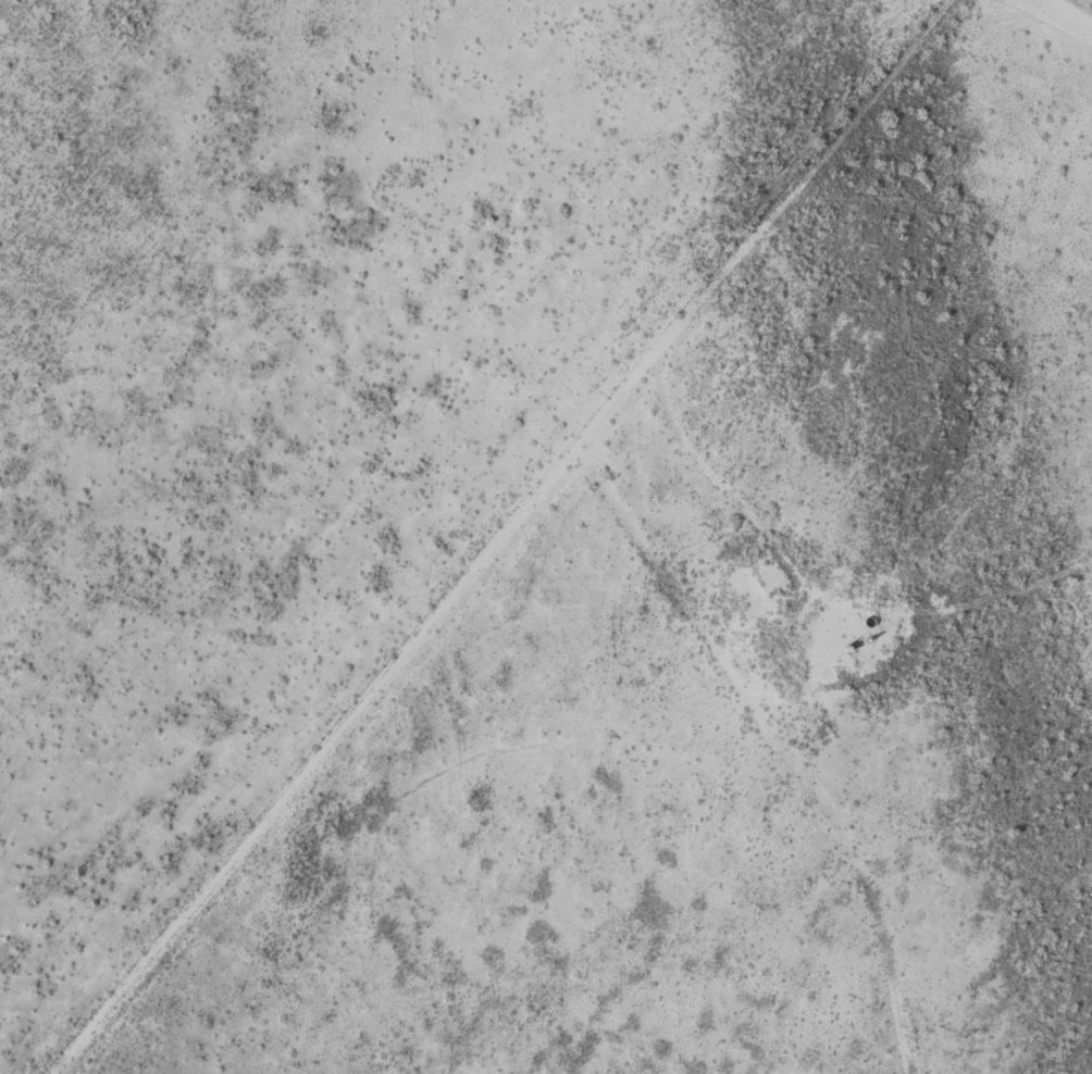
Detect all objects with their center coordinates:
road: (1063, 16)
road: (505, 536)

